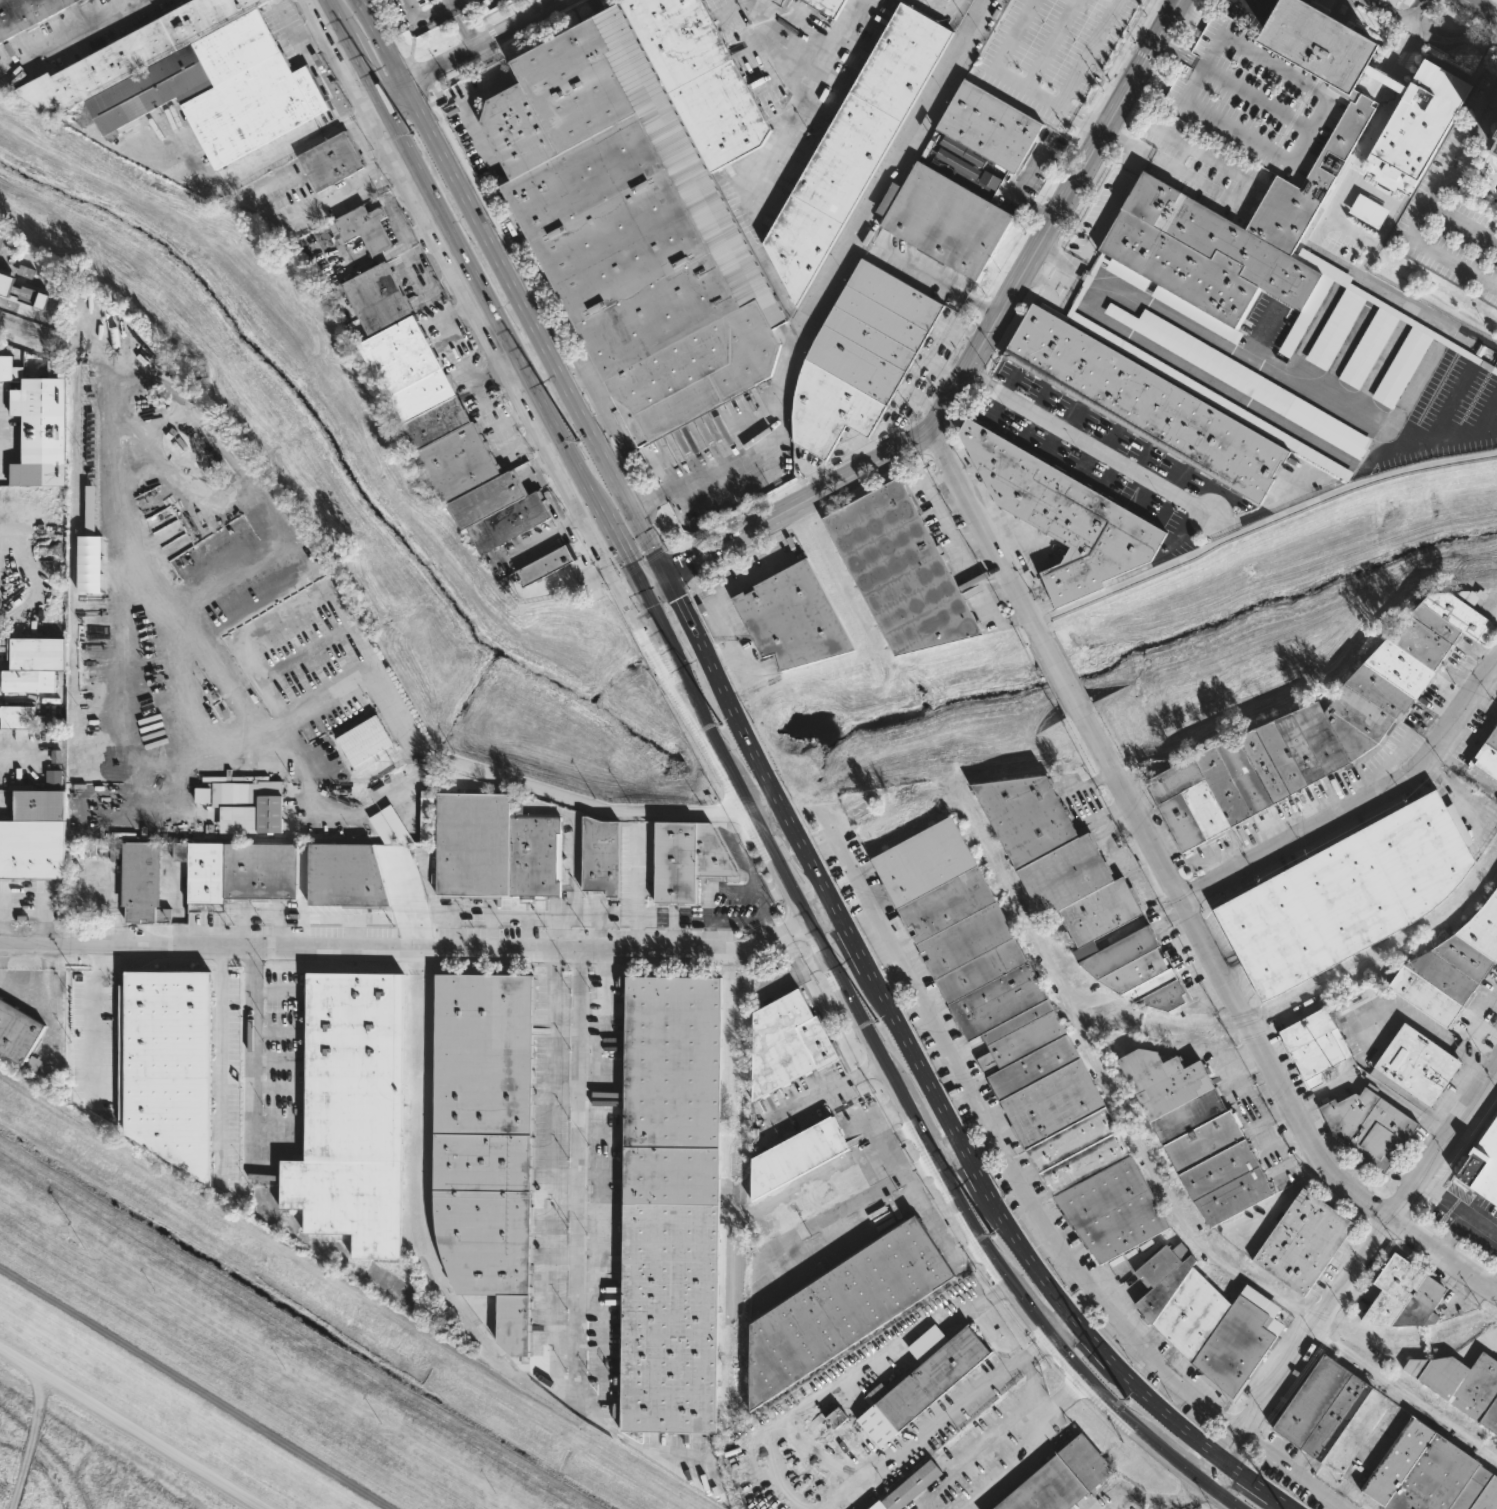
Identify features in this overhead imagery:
road: (449, 2)
road: (1197, 2)
building: (826, 6)
road: (948, 8)
road: (1257, 8)
road: (1481, 8)
road: (1390, 10)
road: (1414, 10)
building: (26, 14)
road: (1190, 14)
road: (1189, 16)
road: (424, 17)
road: (1468, 17)
road: (462, 24)
road: (1414, 28)
road: (1178, 32)
road: (66, 34)
building: (1323, 43)
road: (471, 46)
road: (832, 50)
road: (1168, 50)
road: (1085, 53)
road: (993, 66)
road: (1158, 67)
building: (699, 77)
road: (1385, 78)
building: (188, 79)
building: (1387, 80)
road: (1149, 82)
road: (1151, 82)
building: (1256, 98)
parking garage: (1256, 98)
road: (803, 101)
road: (1138, 113)
road: (1079, 118)
building: (1417, 120)
building: (990, 126)
power tower: (412, 134)
building: (1496, 136)
road: (1370, 137)
building: (854, 146)
road: (1117, 148)
building: (1495, 150)
building: (331, 161)
road: (250, 165)
building: (1386, 177)
building: (989, 180)
road: (1016, 186)
road: (1114, 193)
road: (1431, 204)
road: (1084, 205)
building: (1368, 210)
road: (280, 216)
building: (945, 220)
road: (1464, 224)
building: (362, 229)
building: (631, 229)
building: (1226, 239)
road: (498, 254)
road: (1054, 257)
road: (1061, 260)
road: (1048, 271)
building: (25, 272)
road: (1090, 276)
road: (832, 278)
road: (937, 281)
road: (1041, 281)
building: (5, 283)
road: (1048, 284)
road: (484, 292)
road: (1034, 292)
building: (1355, 293)
building: (29, 295)
road: (1077, 301)
road: (438, 319)
road: (22, 335)
road: (985, 336)
building: (860, 358)
road: (499, 365)
road: (470, 367)
building: (5, 369)
road: (487, 371)
building: (1243, 380)
road: (1290, 380)
building: (1196, 387)
road: (482, 391)
road: (1238, 395)
building: (1145, 403)
building: (438, 418)
building: (40, 419)
road: (506, 421)
power tower: (576, 442)
road: (1090, 443)
road: (517, 445)
road: (3, 449)
building: (1064, 513)
road: (1262, 525)
road: (983, 526)
road: (649, 541)
road: (958, 553)
road: (643, 563)
building: (89, 564)
building: (546, 564)
road: (676, 568)
road: (676, 569)
building: (899, 569)
road: (172, 572)
traffic signals: (666, 574)
road: (753, 574)
road: (696, 578)
road: (653, 580)
traffic signals: (641, 586)
road: (627, 591)
road: (707, 596)
road: (659, 597)
road: (687, 617)
road: (720, 618)
building: (793, 619)
road: (727, 651)
building: (32, 663)
road: (1058, 667)
road: (381, 676)
road: (309, 708)
building: (346, 708)
building: (25, 719)
power tower: (721, 726)
building: (1316, 727)
building: (364, 740)
road: (231, 749)
building: (1489, 754)
building: (202, 794)
building: (243, 794)
road: (762, 801)
building: (268, 806)
road: (1363, 808)
road: (725, 812)
building: (425, 815)
building: (1027, 816)
building: (395, 824)
building: (178, 831)
building: (34, 832)
building: (472, 844)
building: (533, 850)
building: (599, 855)
road: (574, 856)
building: (686, 859)
building: (236, 870)
building: (344, 875)
road: (780, 875)
building: (1065, 875)
building: (141, 883)
road: (635, 888)
building: (1350, 894)
road: (832, 902)
building: (1098, 916)
road: (821, 917)
road: (3, 918)
road: (565, 919)
road: (41, 921)
road: (79, 945)
road: (485, 949)
building: (1452, 967)
building: (1138, 971)
road: (790, 974)
road: (890, 979)
road: (39, 983)
power tower: (876, 1020)
road: (98, 1022)
building: (16, 1033)
road: (1251, 1035)
building: (1020, 1040)
building: (786, 1043)
building: (1316, 1045)
road: (254, 1055)
road: (221, 1061)
building: (1419, 1064)
building: (167, 1066)
road: (1102, 1081)
road: (821, 1090)
building: (350, 1114)
building: (1370, 1127)
road: (989, 1132)
road: (900, 1134)
building: (1198, 1134)
building: (485, 1141)
road: (949, 1150)
building: (795, 1157)
building: (1482, 1161)
road: (578, 1166)
road: (919, 1168)
road: (909, 1188)
building: (670, 1204)
power tower: (991, 1233)
power tower: (63, 1237)
road: (842, 1237)
building: (1303, 1242)
road: (1351, 1272)
road: (999, 1289)
railway: (347, 1294)
building: (1404, 1294)
road: (1083, 1304)
building: (842, 1309)
building: (1207, 1321)
road: (1064, 1327)
road: (1101, 1349)
road: (1033, 1350)
road: (1067, 1352)
road: (1018, 1359)
park: (214, 1375)
road: (842, 1379)
building: (1459, 1380)
building: (919, 1381)
road: (1075, 1381)
road: (1033, 1385)
road: (196, 1388)
road: (587, 1394)
power tower: (1126, 1401)
building: (835, 1417)
building: (1490, 1417)
power tower: (372, 1422)
road: (132, 1429)
road: (919, 1435)
road: (988, 1435)
building: (1382, 1446)
road: (695, 1447)
road: (1013, 1461)
road: (1295, 1469)
building: (1062, 1479)
building: (908, 1487)
road: (1176, 1495)
road: (1116, 1498)

